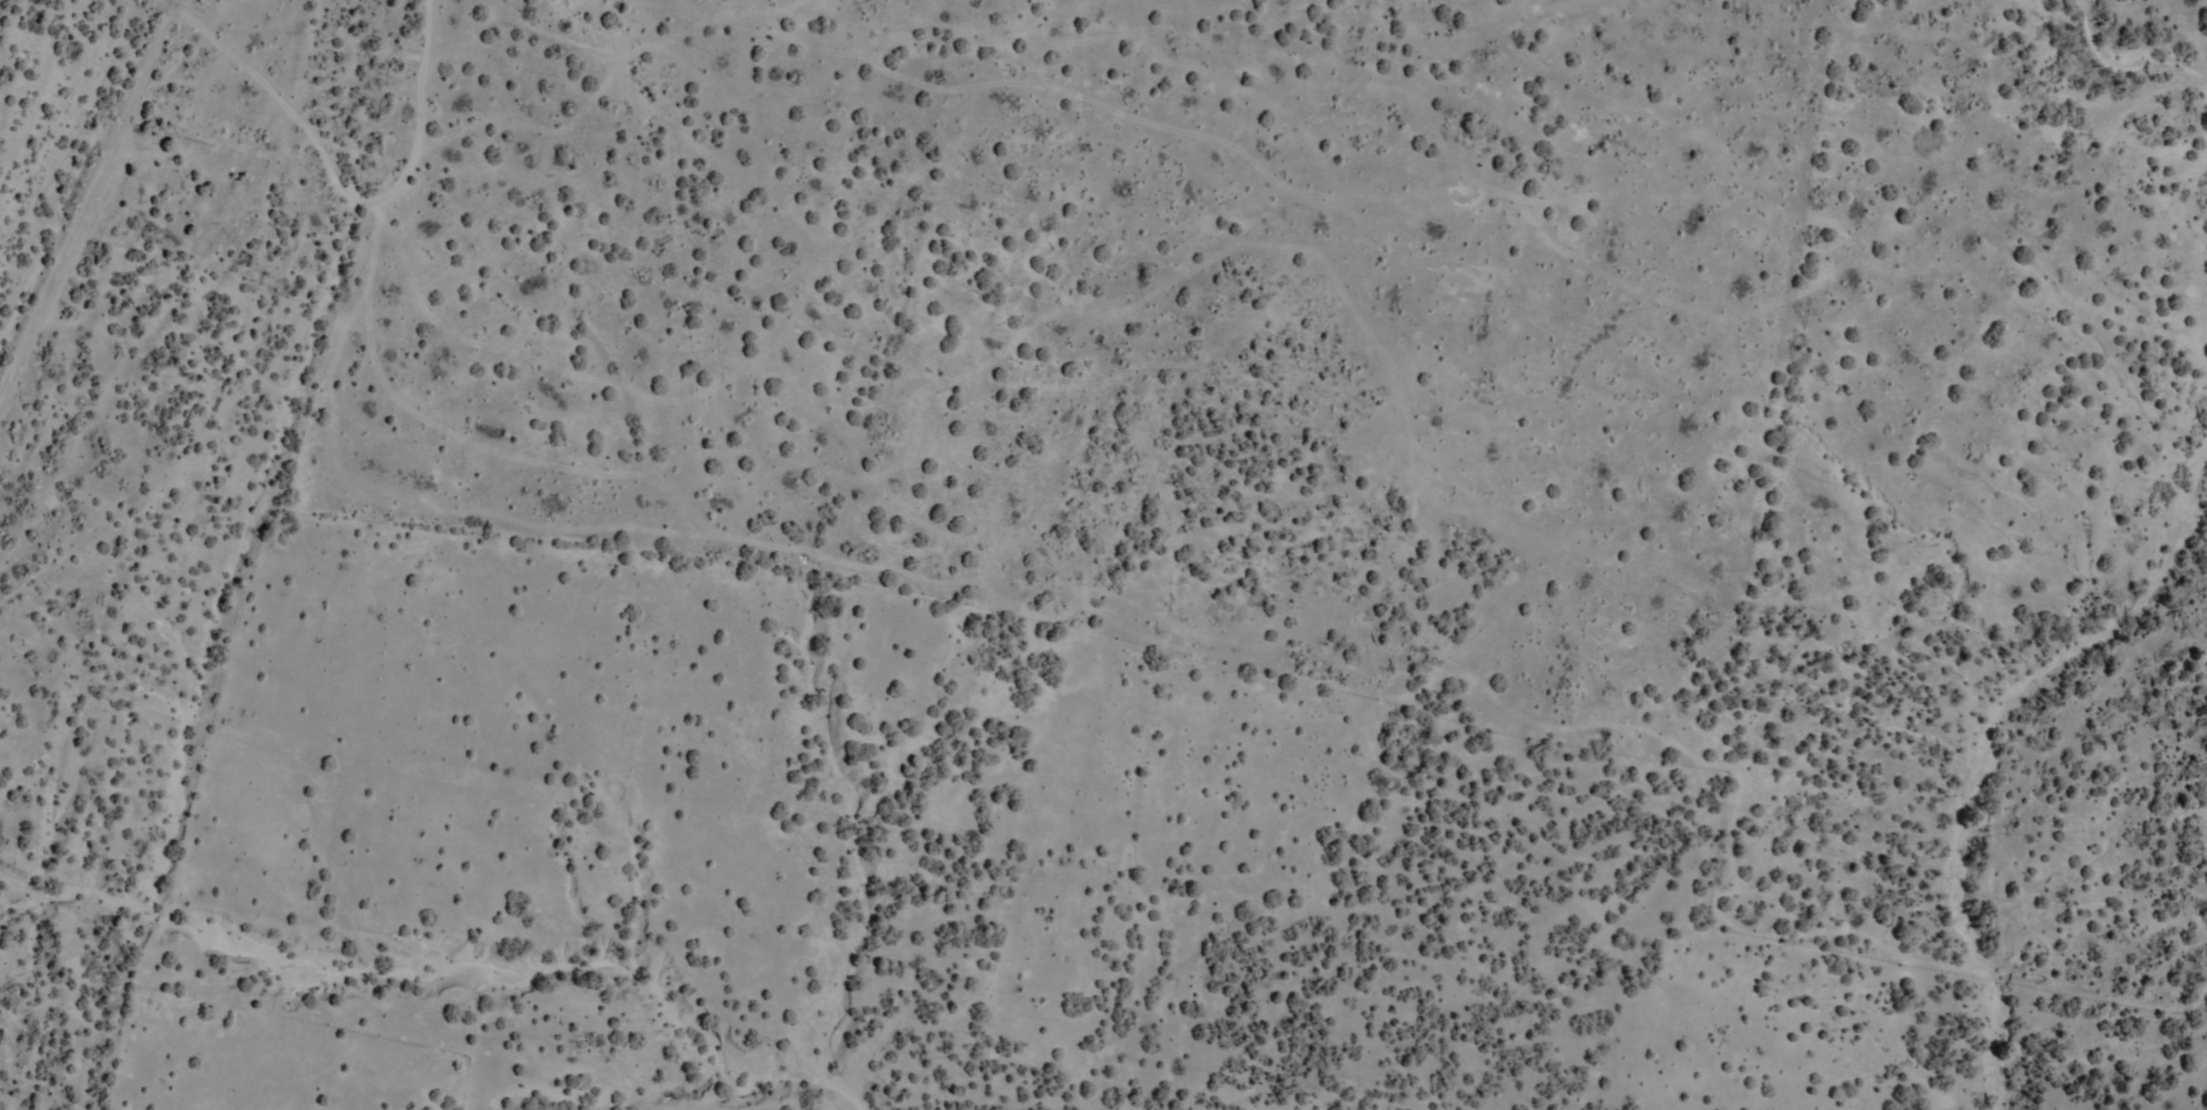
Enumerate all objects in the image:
road: (96, 313)

